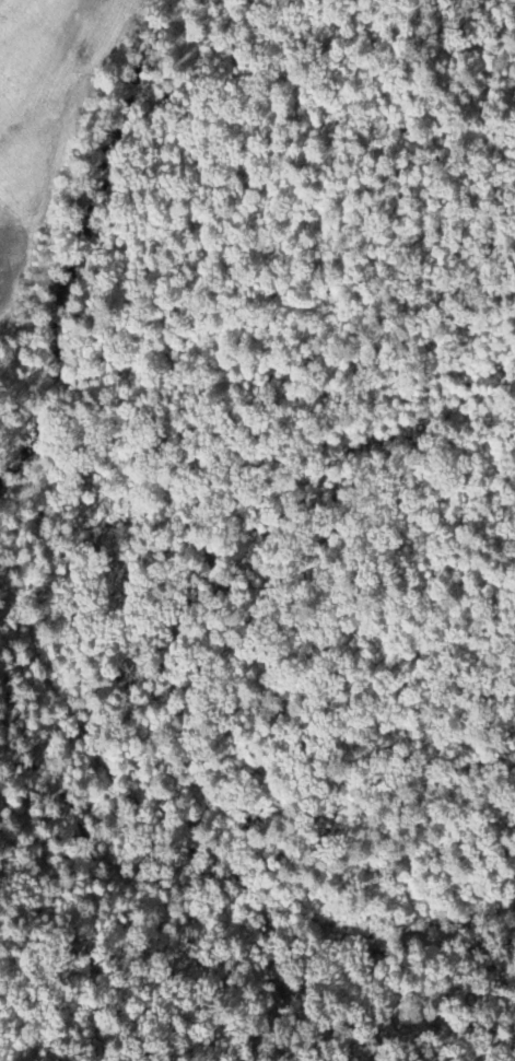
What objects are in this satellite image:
river: (68, 224)

